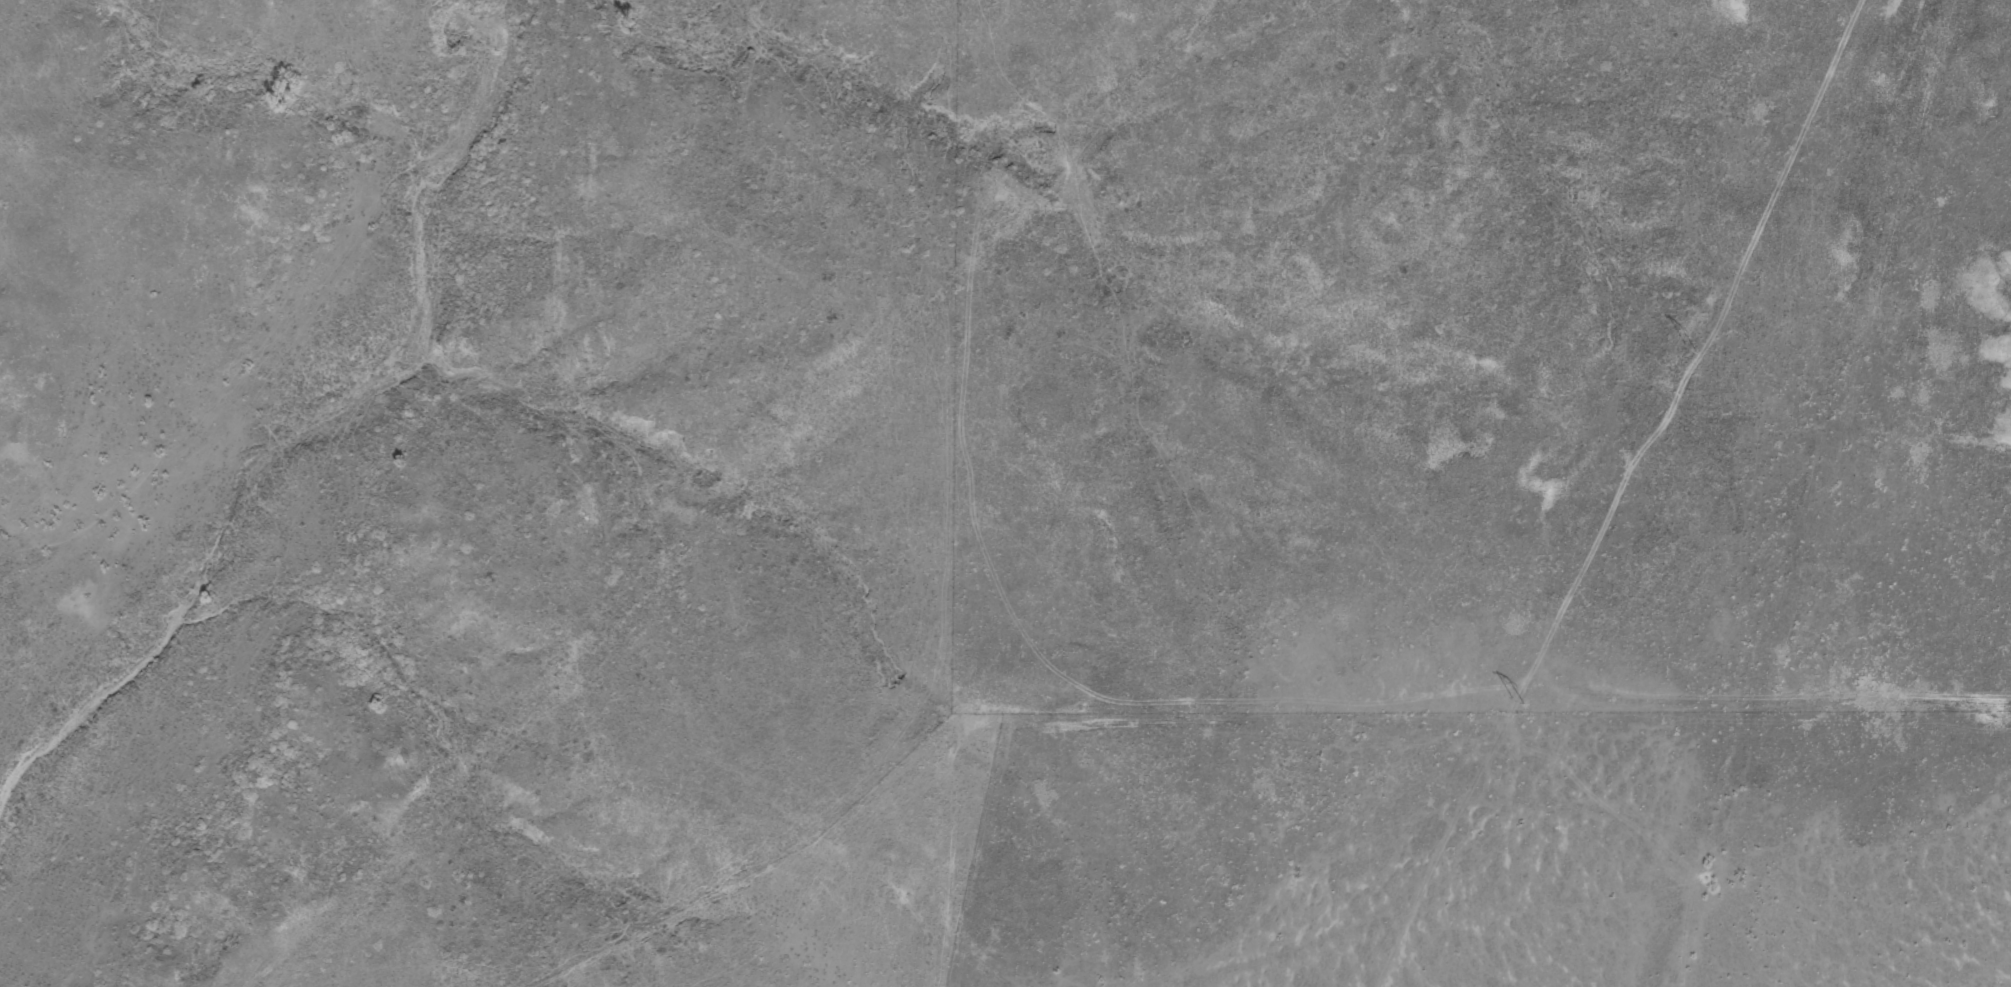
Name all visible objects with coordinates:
power tower: (1686, 350)
power tower: (1516, 700)
road: (1665, 757)

